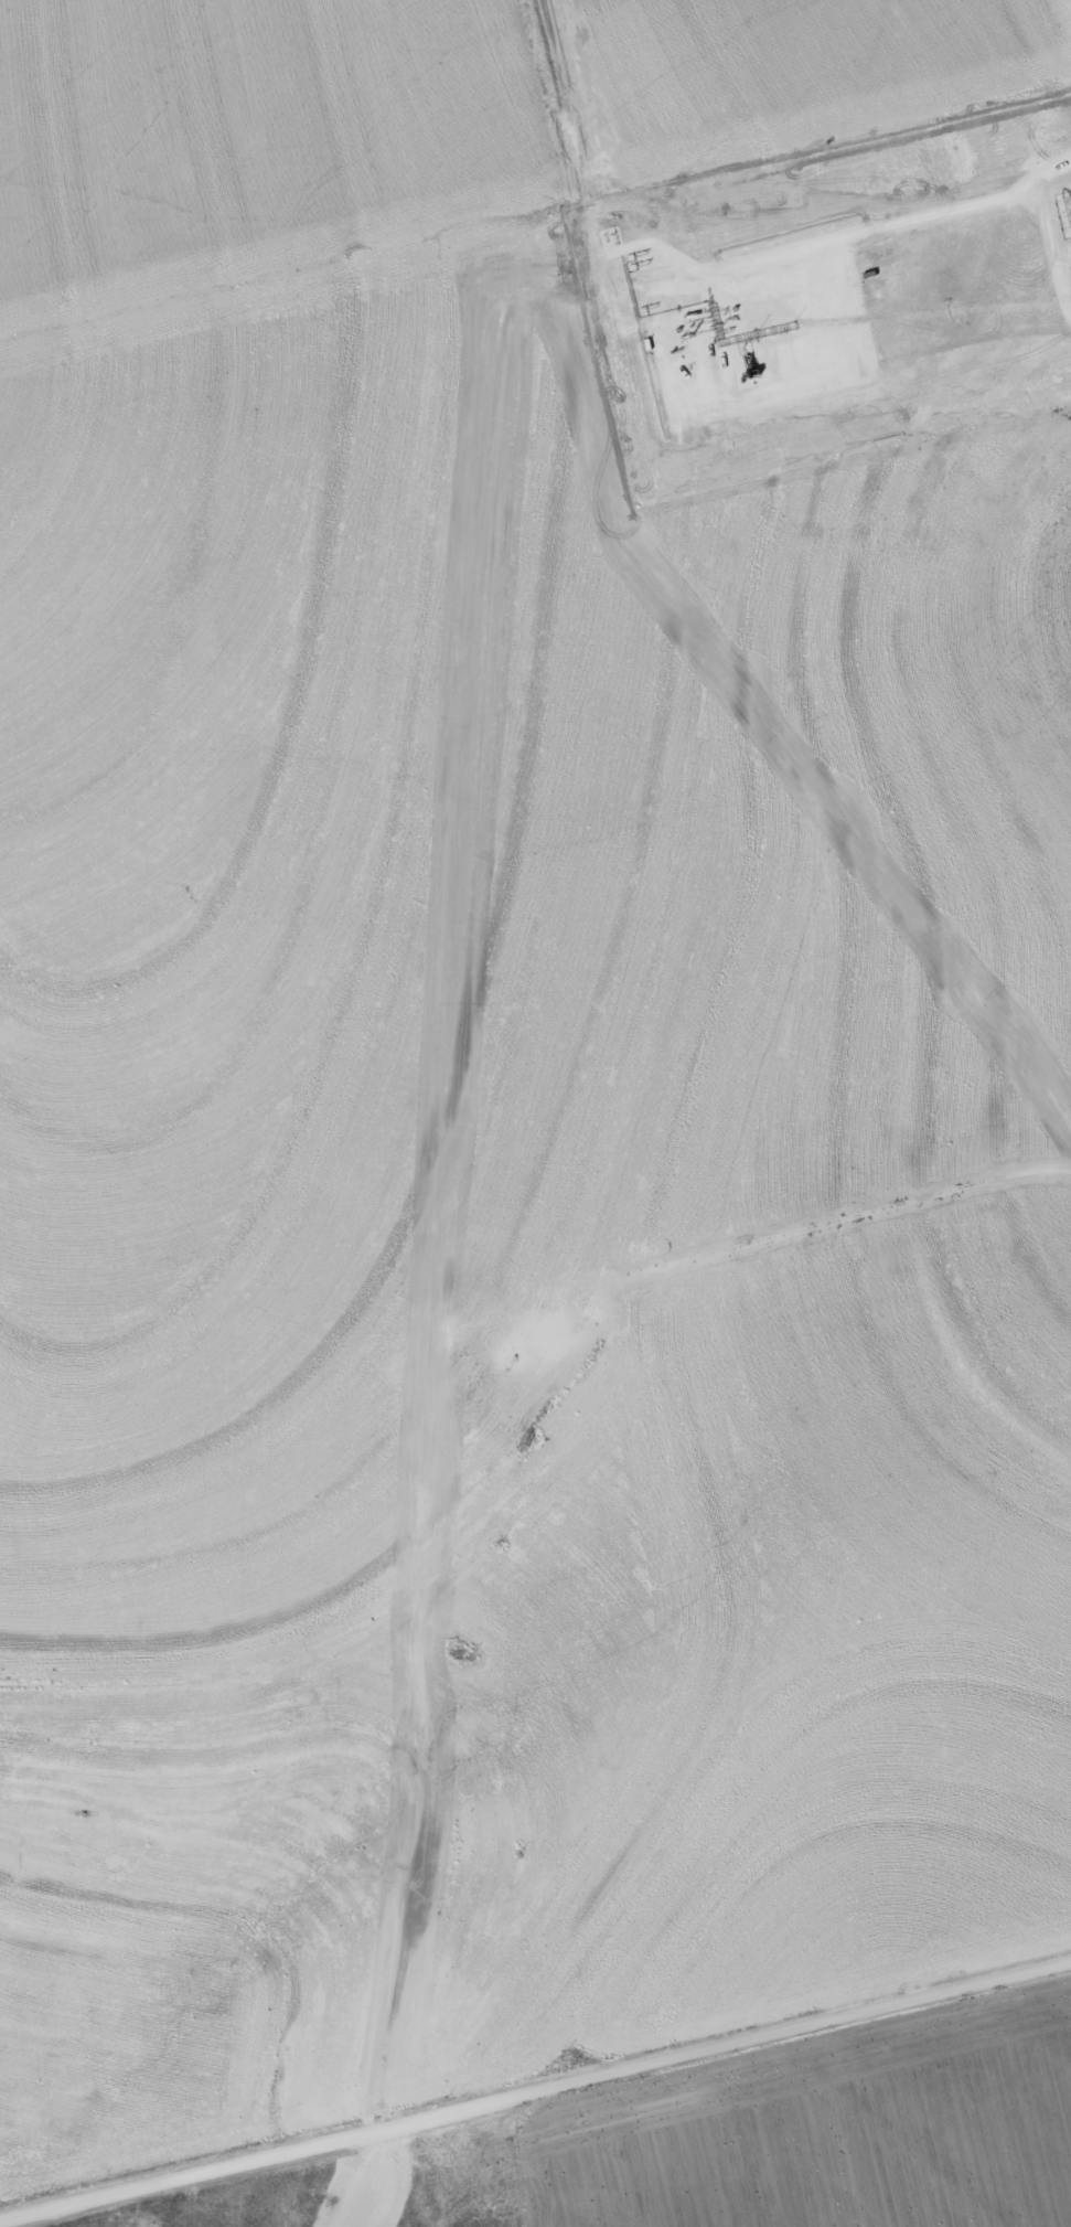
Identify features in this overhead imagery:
road: (847, 1232)
road: (535, 2088)

